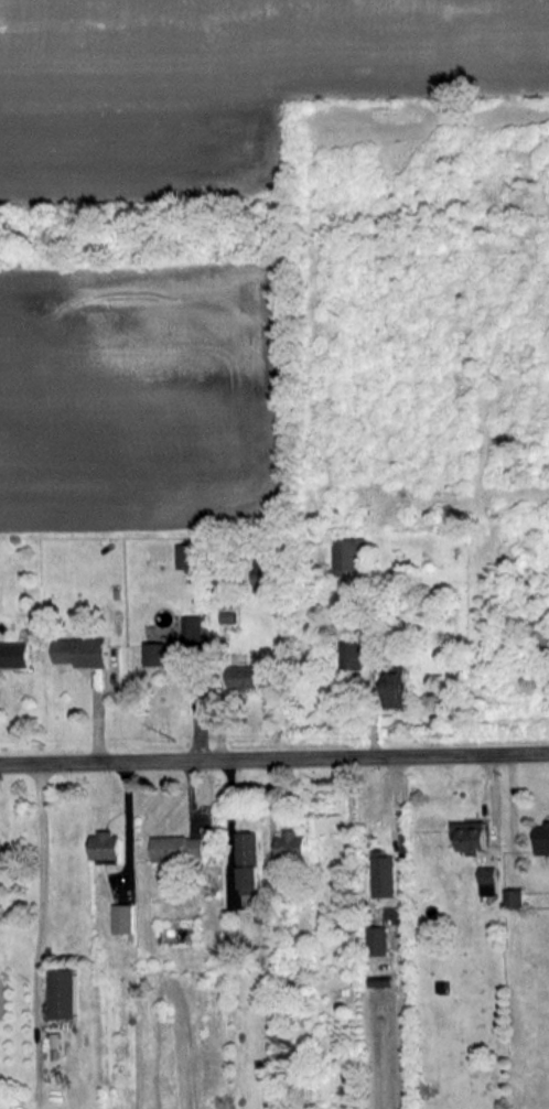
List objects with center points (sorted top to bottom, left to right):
building: (348, 553)
building: (184, 556)
building: (262, 573)
building: (225, 617)
building: (191, 627)
building: (79, 650)
building: (162, 653)
building: (14, 654)
building: (349, 655)
building: (243, 677)
building: (395, 689)
road: (273, 754)
road: (271, 817)
road: (127, 822)
road: (229, 828)
building: (471, 836)
building: (542, 839)
building: (106, 846)
building: (292, 846)
building: (177, 848)
building: (0, 864)
building: (249, 866)
building: (384, 874)
building: (488, 880)
road: (35, 884)
building: (514, 897)
building: (122, 917)
building: (377, 940)
building: (63, 993)

